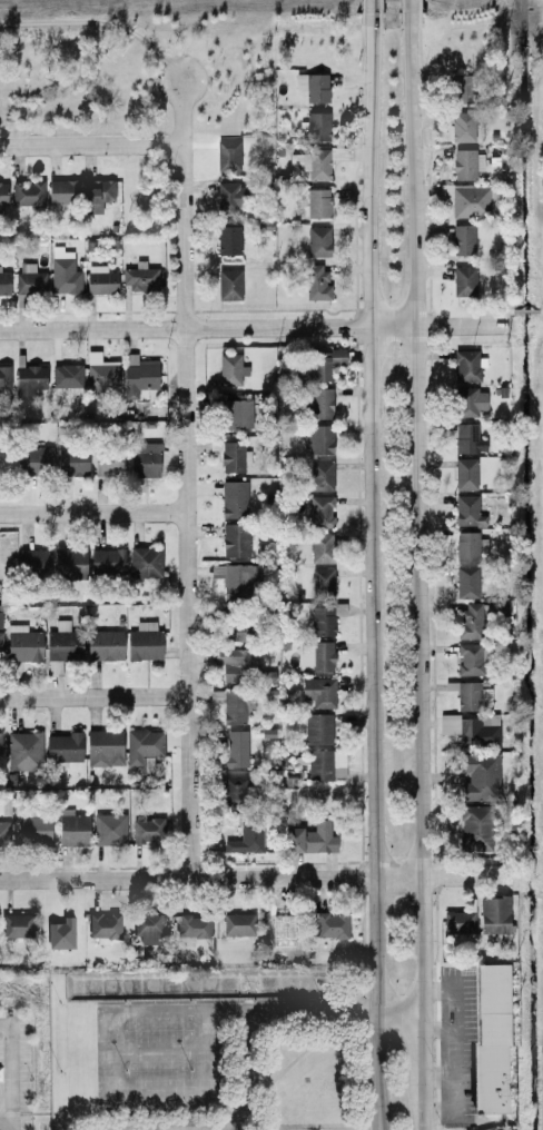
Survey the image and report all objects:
road: (407, 9)
road: (369, 11)
building: (313, 87)
building: (462, 88)
building: (316, 126)
building: (462, 127)
road: (90, 146)
building: (227, 155)
building: (312, 163)
building: (466, 163)
building: (61, 191)
building: (27, 192)
building: (96, 195)
building: (1, 197)
building: (230, 197)
building: (468, 201)
building: (318, 202)
building: (228, 239)
building: (463, 239)
building: (318, 241)
building: (63, 271)
building: (139, 277)
building: (29, 279)
building: (100, 279)
building: (464, 280)
building: (4, 282)
building: (316, 282)
building: (228, 284)
road: (540, 310)
road: (523, 311)
road: (497, 318)
road: (243, 328)
building: (326, 363)
building: (466, 365)
building: (230, 369)
building: (100, 371)
building: (138, 375)
building: (66, 376)
building: (4, 377)
building: (29, 379)
building: (470, 402)
building: (320, 403)
building: (236, 414)
building: (318, 438)
building: (467, 439)
building: (233, 457)
building: (34, 459)
building: (145, 459)
building: (72, 462)
building: (109, 463)
building: (465, 474)
building: (320, 475)
road: (187, 477)
building: (233, 499)
building: (467, 511)
road: (93, 512)
building: (319, 512)
road: (414, 515)
road: (372, 516)
building: (235, 541)
building: (466, 545)
building: (320, 547)
building: (34, 561)
building: (107, 561)
building: (70, 562)
building: (145, 562)
building: (237, 581)
building: (322, 582)
building: (466, 582)
building: (6, 595)
building: (324, 619)
building: (470, 621)
building: (237, 632)
building: (0, 636)
building: (144, 642)
building: (23, 644)
building: (62, 645)
building: (103, 645)
building: (316, 655)
building: (471, 660)
building: (233, 664)
building: (319, 692)
building: (473, 695)
road: (96, 696)
building: (234, 706)
building: (317, 728)
building: (471, 730)
building: (63, 747)
building: (103, 747)
building: (144, 747)
building: (235, 749)
building: (23, 751)
building: (326, 765)
building: (480, 776)
building: (238, 790)
building: (33, 827)
building: (72, 827)
building: (476, 827)
building: (109, 829)
building: (148, 829)
building: (3, 832)
building: (247, 837)
building: (312, 837)
road: (250, 876)
building: (493, 914)
building: (457, 922)
building: (237, 924)
building: (277, 924)
building: (329, 924)
building: (19, 926)
building: (106, 926)
building: (194, 926)
building: (60, 928)
building: (151, 929)
road: (313, 1009)
road: (233, 1010)
road: (397, 1011)
road: (6, 1028)
road: (255, 1028)
building: (492, 1039)
road: (161, 1051)
parking lot: (167, 1059)
road: (378, 1069)
road: (417, 1072)
road: (248, 1073)
road: (11, 1079)
road: (117, 1084)
road: (257, 1097)
road: (258, 1106)
road: (247, 1113)
road: (167, 1114)
road: (155, 1122)
road: (6, 1128)

